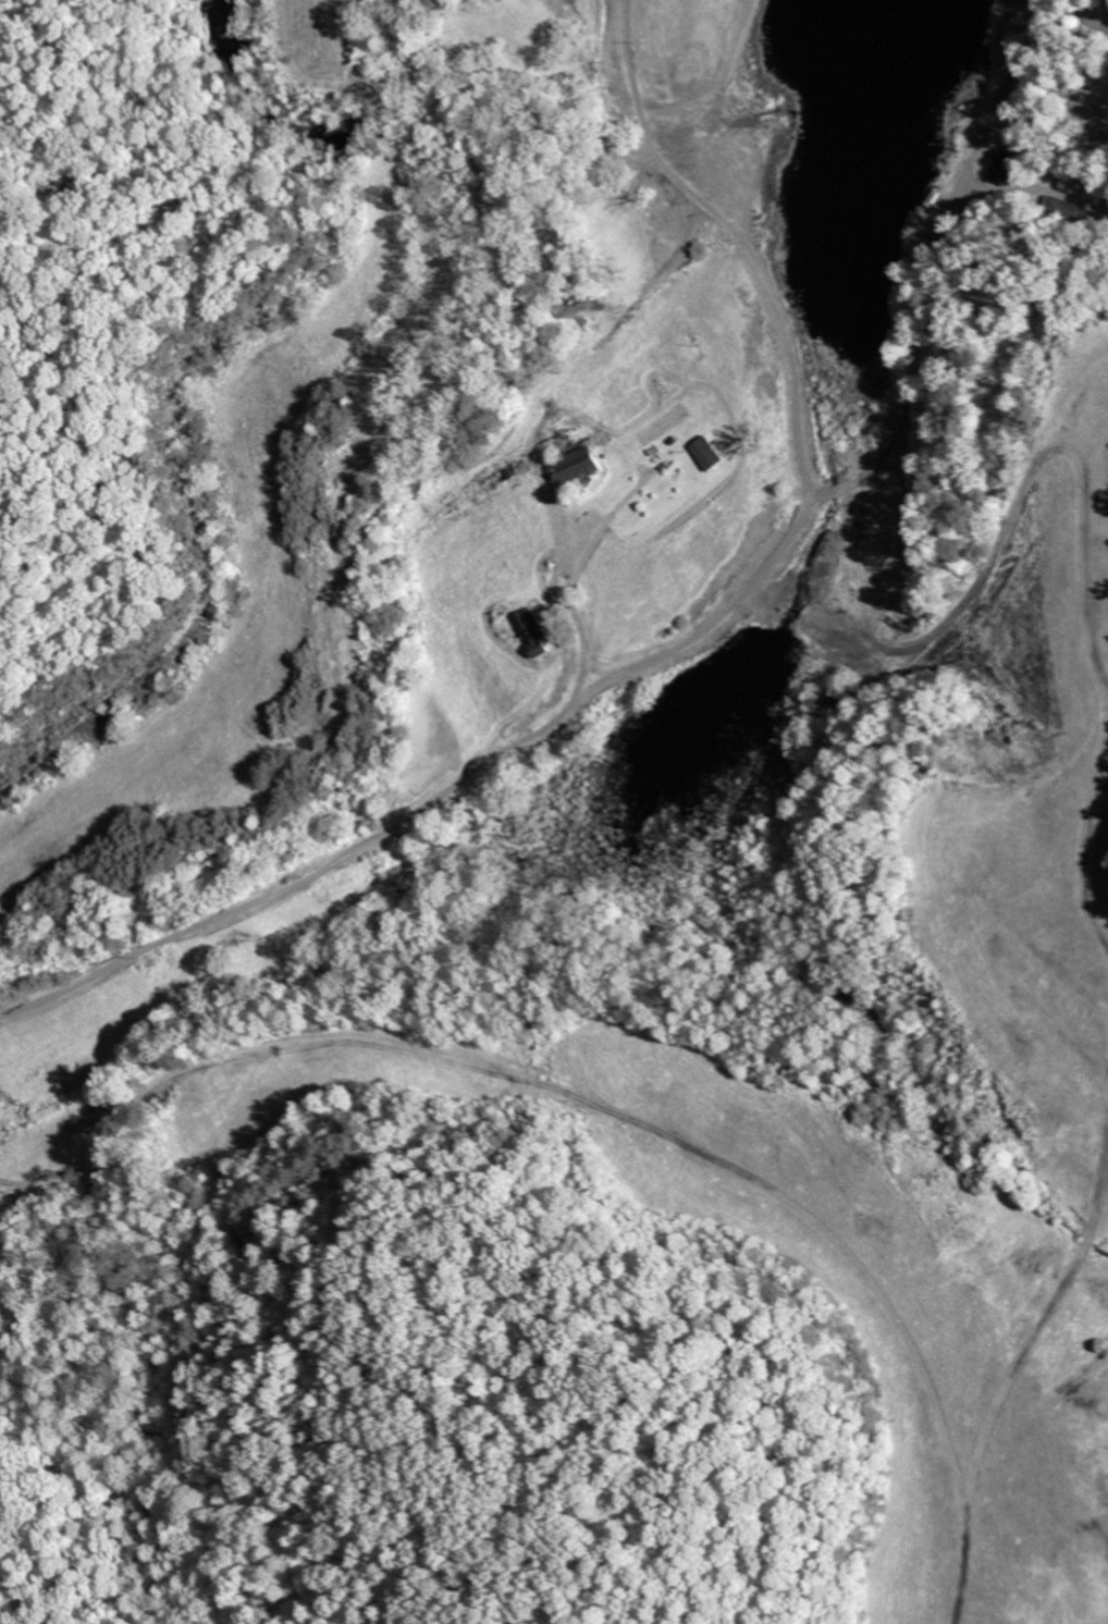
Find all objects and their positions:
building: (1006, 167)
building: (1084, 190)
building: (1069, 211)
building: (710, 453)
building: (579, 466)
building: (538, 632)
road: (271, 856)

